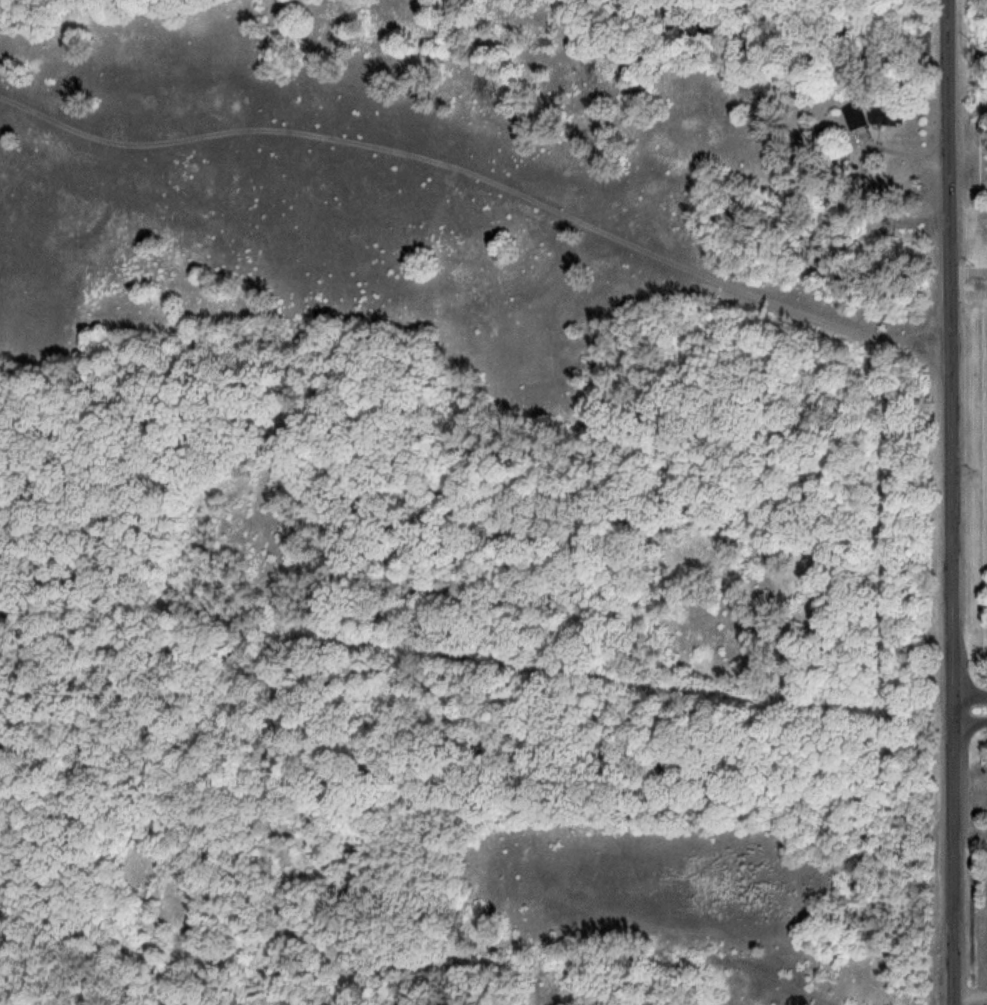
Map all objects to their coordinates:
building: (893, 116)
building: (862, 118)
road: (136, 144)
road: (617, 237)
park: (955, 289)
road: (953, 502)
road: (971, 708)
road: (273, 804)
road: (973, 993)

